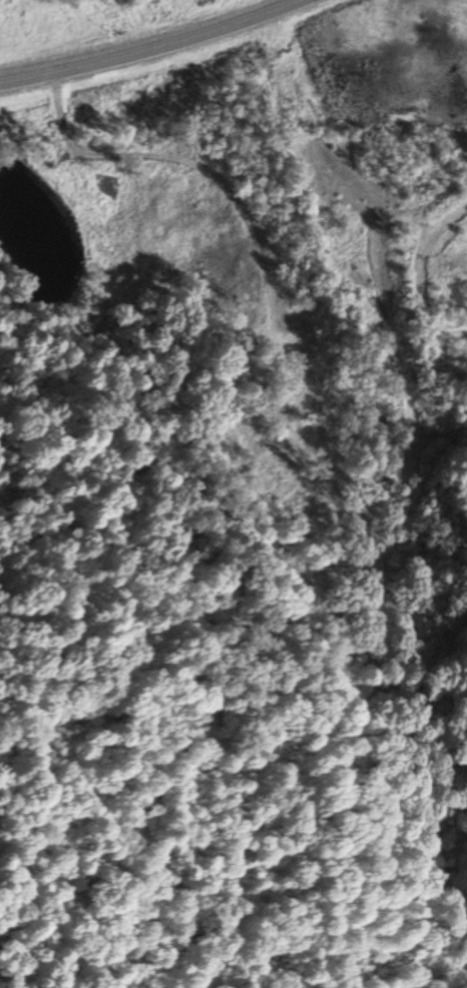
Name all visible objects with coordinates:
road: (153, 48)

